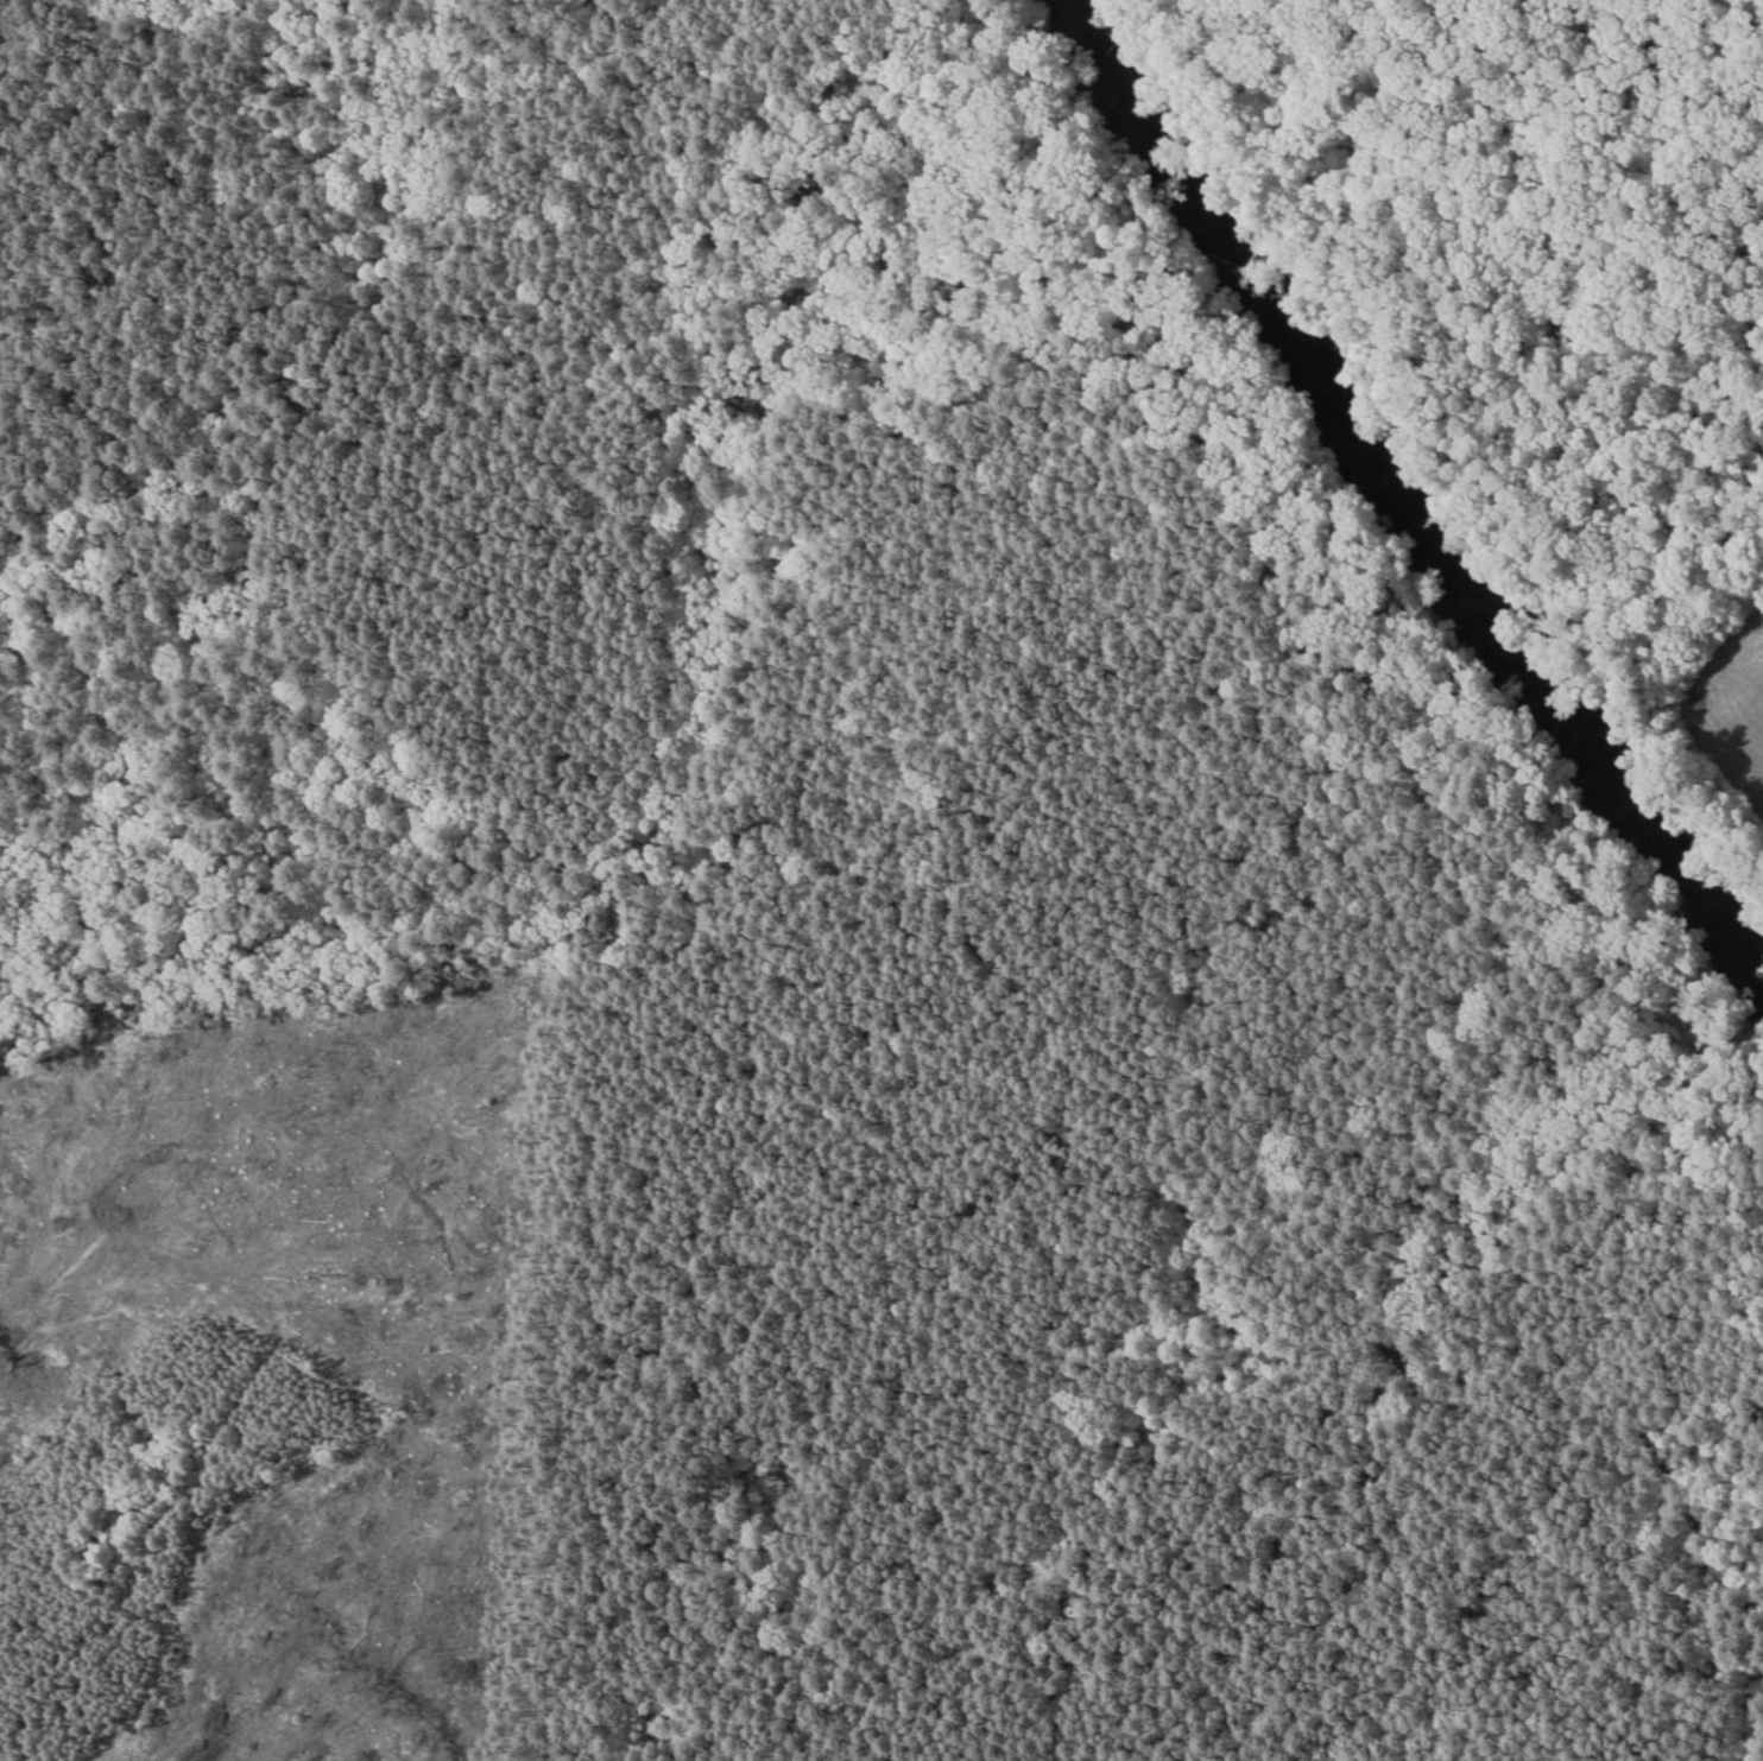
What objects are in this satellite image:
river: (1111, 37)
river: (1446, 514)

